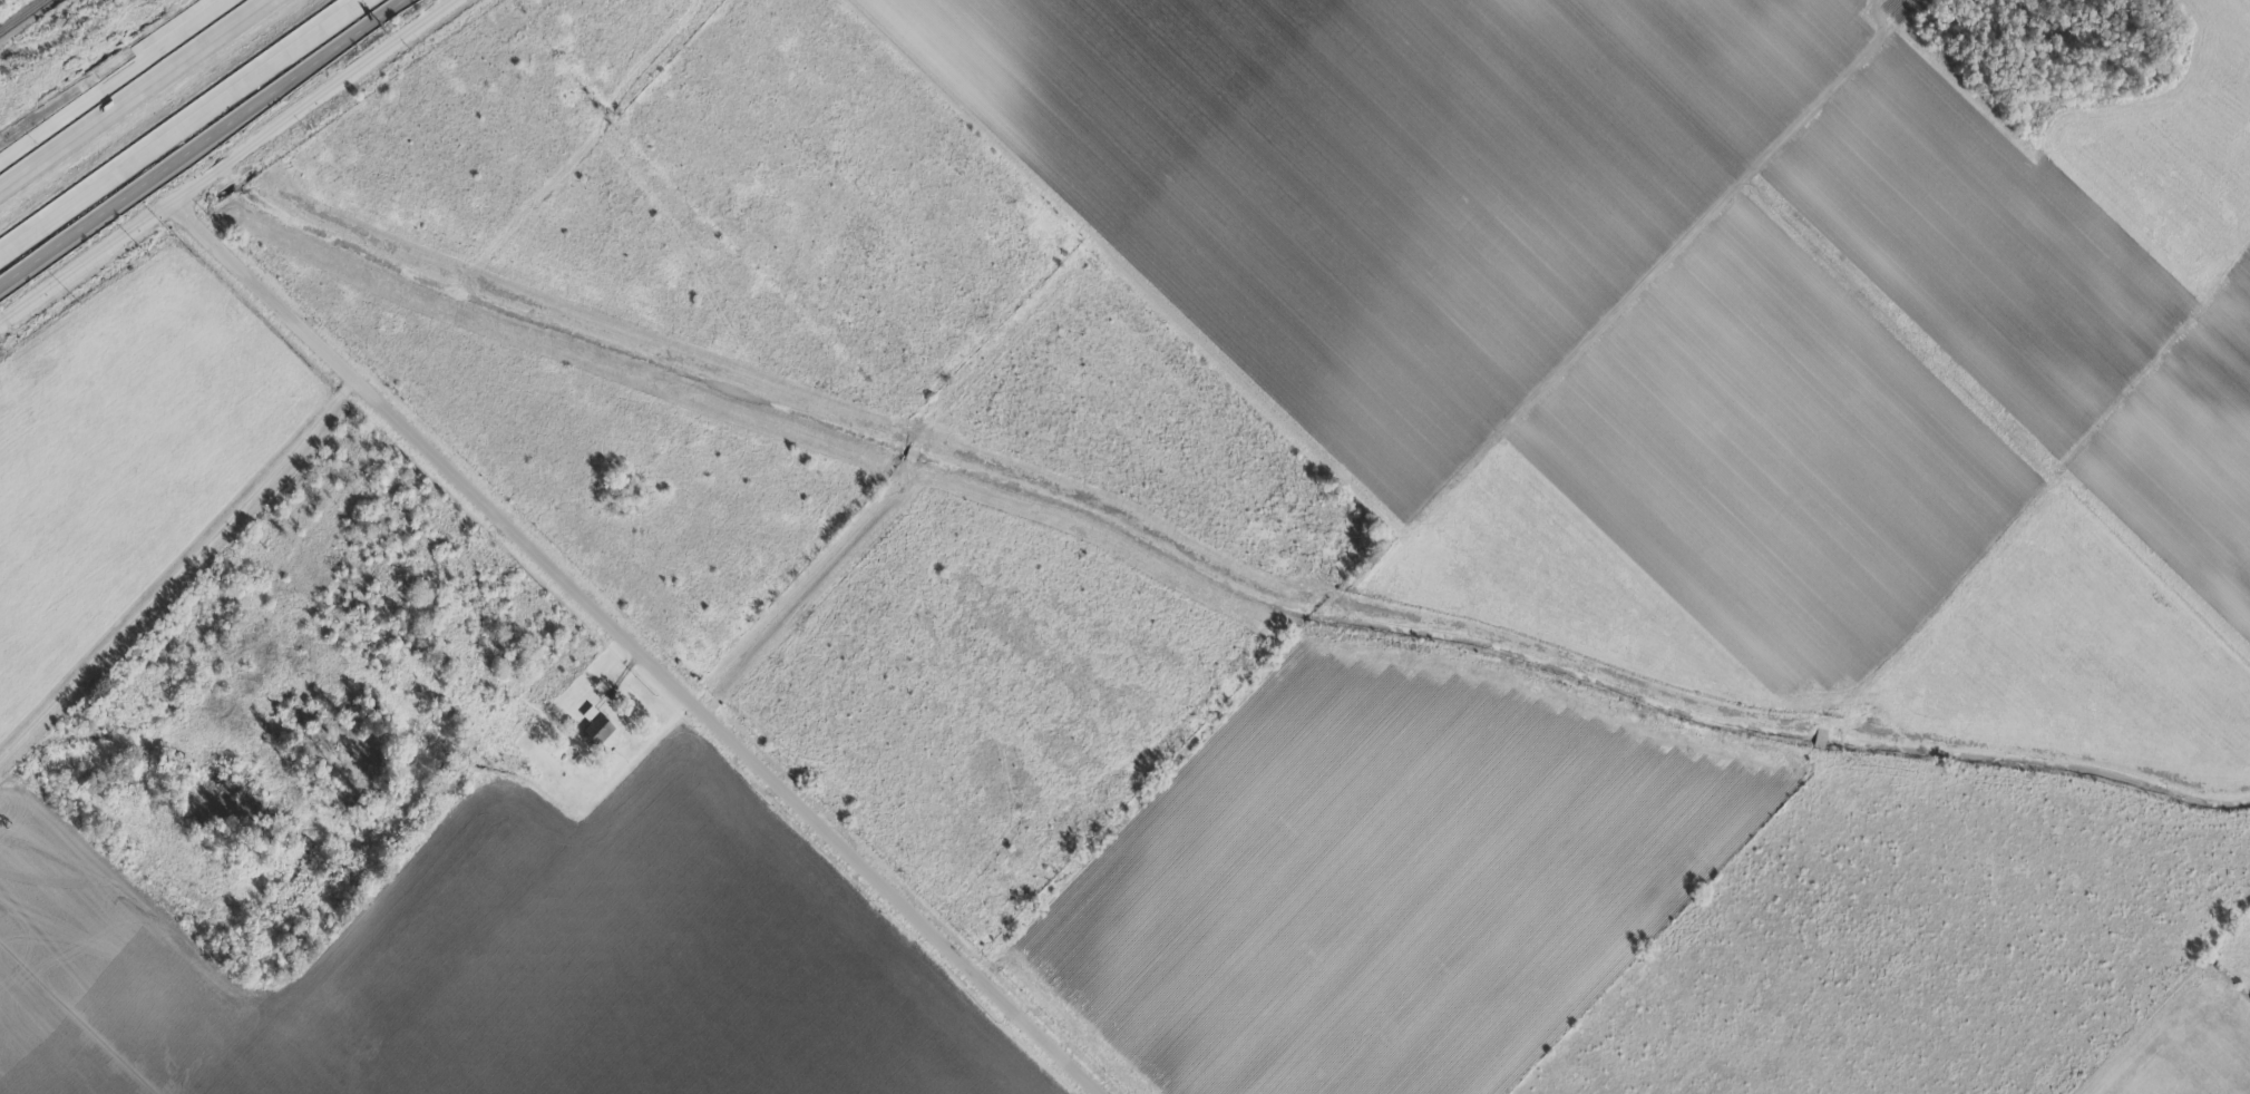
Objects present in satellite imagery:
railway: (23, 17)
road: (289, 47)
road: (116, 84)
road: (35, 135)
road: (230, 162)
road: (110, 173)
road: (637, 647)

